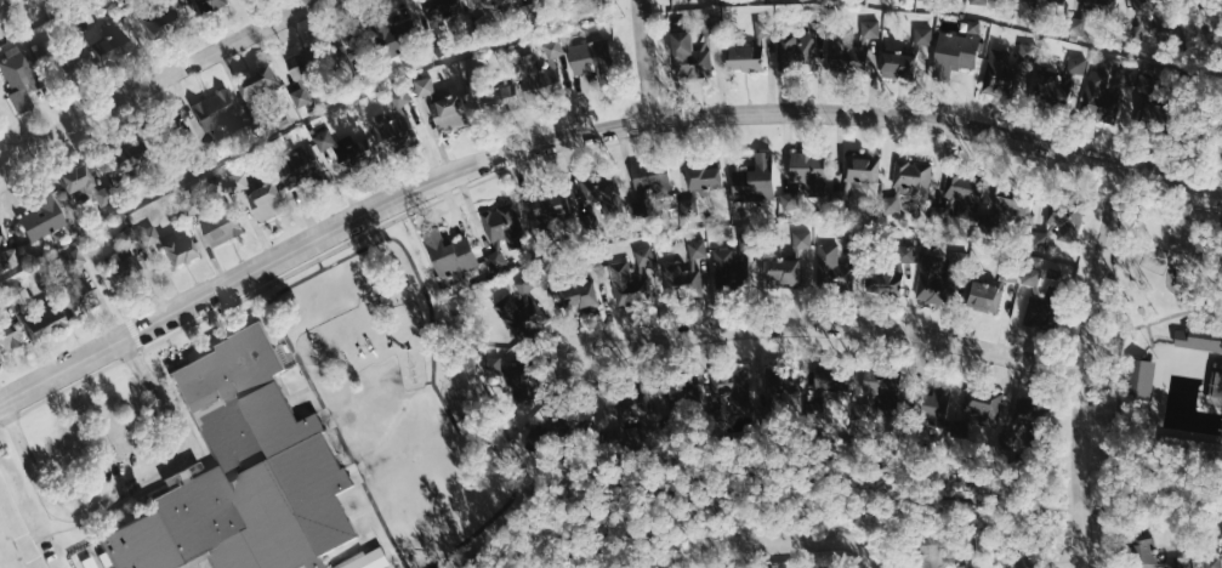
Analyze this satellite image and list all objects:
building: (1056, 0)
building: (979, 1)
building: (495, 4)
building: (1092, 4)
building: (220, 5)
building: (449, 10)
building: (171, 17)
building: (1075, 24)
building: (870, 29)
building: (399, 36)
building: (923, 36)
building: (120, 47)
building: (797, 49)
building: (847, 49)
building: (956, 51)
building: (1028, 52)
building: (688, 57)
building: (744, 57)
building: (601, 59)
road: (644, 59)
building: (897, 64)
building: (1004, 73)
building: (552, 75)
building: (307, 76)
building: (23, 78)
road: (159, 78)
building: (1045, 78)
building: (1149, 79)
building: (267, 84)
building: (430, 86)
building: (1107, 87)
building: (490, 90)
road: (1205, 95)
building: (455, 112)
building: (398, 121)
road: (584, 131)
building: (354, 148)
building: (312, 159)
building: (864, 170)
building: (807, 172)
building: (705, 175)
building: (915, 177)
building: (244, 180)
building: (756, 180)
building: (655, 182)
building: (90, 186)
building: (273, 200)
building: (789, 201)
building: (559, 204)
building: (892, 205)
building: (1008, 210)
building: (47, 218)
building: (220, 220)
building: (1068, 221)
building: (506, 225)
park: (1193, 232)
building: (154, 235)
building: (802, 239)
building: (1040, 239)
building: (5, 242)
building: (187, 250)
building: (456, 256)
building: (646, 256)
building: (501, 259)
building: (729, 268)
building: (836, 269)
building: (129, 272)
building: (688, 272)
building: (780, 272)
building: (894, 274)
building: (1042, 274)
building: (937, 283)
building: (630, 285)
building: (985, 291)
building: (579, 296)
building: (521, 312)
building: (53, 320)
road: (834, 329)
road: (1150, 333)
building: (1201, 337)
building: (12, 339)
park: (1161, 341)
road: (1084, 365)
building: (1139, 375)
building: (882, 384)
building: (1216, 385)
building: (829, 388)
building: (784, 390)
building: (733, 391)
road: (161, 396)
building: (684, 396)
building: (632, 407)
building: (983, 411)
building: (1030, 424)
road: (34, 466)
building: (245, 470)
road: (131, 481)
road: (978, 492)
road: (19, 526)
road: (818, 538)
road: (704, 546)
building: (1143, 553)
building: (928, 556)
building: (365, 561)
building: (1214, 562)
building: (964, 566)

